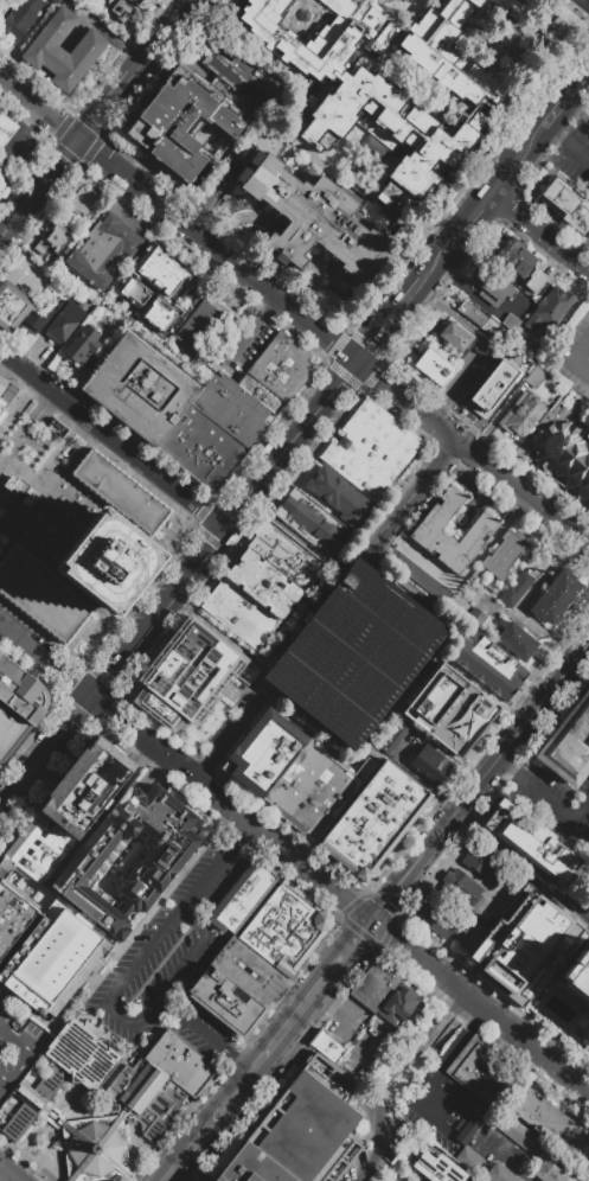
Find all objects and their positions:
building: (0, 0)
building: (510, 7)
building: (122, 8)
building: (20, 18)
road: (111, 33)
building: (320, 34)
road: (162, 38)
building: (63, 51)
building: (233, 77)
road: (575, 81)
road: (105, 108)
building: (411, 108)
road: (39, 109)
road: (574, 111)
road: (551, 114)
building: (179, 121)
building: (6, 129)
road: (21, 132)
road: (550, 133)
traffic signals: (79, 141)
road: (574, 151)
parking lot: (574, 158)
road: (516, 161)
road: (108, 162)
building: (2, 165)
road: (53, 174)
road: (201, 198)
building: (83, 202)
building: (568, 205)
road: (239, 217)
road: (7, 218)
building: (312, 218)
road: (128, 221)
road: (13, 226)
road: (539, 234)
building: (56, 235)
road: (294, 237)
road: (456, 238)
parking lot: (587, 245)
building: (41, 247)
road: (213, 247)
building: (102, 250)
road: (581, 250)
building: (520, 262)
parking lot: (30, 274)
road: (310, 280)
building: (493, 282)
building: (155, 291)
road: (474, 299)
building: (12, 306)
building: (549, 308)
parking lot: (514, 311)
building: (472, 313)
building: (36, 317)
building: (64, 321)
road: (391, 323)
building: (199, 325)
road: (248, 330)
parking lot: (245, 331)
road: (325, 337)
building: (454, 337)
road: (481, 345)
building: (82, 346)
road: (569, 357)
parking lot: (574, 357)
road: (13, 360)
road: (33, 364)
traffic signals: (359, 364)
building: (280, 366)
building: (433, 368)
parking lot: (469, 375)
building: (536, 376)
building: (141, 388)
building: (491, 389)
parking lot: (492, 389)
road: (73, 390)
building: (261, 392)
building: (241, 401)
building: (1, 402)
road: (18, 404)
building: (1, 413)
building: (521, 413)
building: (226, 417)
road: (495, 417)
building: (1, 438)
road: (293, 447)
building: (200, 448)
building: (371, 448)
road: (127, 451)
road: (472, 452)
building: (566, 460)
road: (427, 473)
building: (119, 491)
building: (339, 497)
road: (517, 506)
building: (312, 523)
building: (427, 526)
road: (300, 542)
road: (587, 544)
building: (287, 554)
building: (502, 554)
building: (108, 562)
building: (271, 573)
road: (459, 574)
building: (514, 588)
building: (260, 590)
building: (41, 595)
building: (555, 595)
road: (385, 611)
building: (239, 613)
road: (159, 614)
road: (301, 614)
road: (218, 630)
road: (325, 630)
building: (513, 639)
road: (363, 651)
road: (346, 653)
building: (354, 655)
parking garage: (354, 655)
road: (46, 664)
building: (486, 665)
road: (382, 674)
building: (7, 675)
building: (184, 683)
road: (320, 692)
road: (530, 697)
building: (26, 698)
traffic signals: (92, 701)
building: (450, 704)
road: (237, 720)
building: (13, 721)
road: (315, 729)
building: (8, 736)
building: (391, 736)
road: (141, 740)
building: (568, 743)
building: (97, 745)
road: (382, 749)
building: (4, 752)
building: (264, 752)
building: (89, 755)
road: (45, 758)
road: (478, 761)
building: (430, 764)
road: (497, 764)
building: (81, 766)
road: (504, 767)
building: (290, 774)
road: (425, 783)
building: (66, 785)
building: (303, 786)
building: (92, 792)
road: (540, 796)
building: (57, 797)
building: (319, 797)
building: (338, 800)
building: (505, 805)
building: (47, 809)
parking lot: (551, 809)
road: (580, 809)
building: (374, 819)
building: (52, 830)
building: (45, 841)
building: (38, 848)
building: (538, 850)
building: (129, 855)
building: (33, 856)
road: (508, 857)
building: (485, 863)
building: (5, 864)
building: (26, 864)
road: (216, 869)
road: (24, 888)
building: (459, 888)
building: (242, 895)
road: (388, 902)
building: (18, 906)
building: (519, 906)
road: (576, 907)
building: (14, 918)
building: (438, 918)
traffic signals: (372, 924)
building: (286, 927)
building: (11, 928)
building: (470, 937)
road: (390, 938)
building: (8, 940)
building: (489, 945)
building: (4, 953)
building: (53, 957)
building: (549, 959)
parking lot: (172, 962)
building: (0, 966)
building: (263, 970)
building: (383, 973)
building: (577, 975)
building: (373, 985)
road: (319, 991)
road: (427, 996)
building: (364, 997)
building: (226, 1001)
building: (398, 1003)
road: (334, 1014)
road: (450, 1024)
road: (132, 1029)
parking lot: (363, 1034)
road: (206, 1035)
road: (457, 1040)
parking lot: (17, 1046)
road: (295, 1046)
building: (327, 1046)
building: (188, 1053)
road: (289, 1055)
road: (30, 1058)
building: (180, 1062)
parking lot: (404, 1062)
road: (405, 1066)
building: (478, 1070)
building: (172, 1073)
road: (5, 1080)
road: (244, 1086)
road: (421, 1096)
building: (147, 1100)
parking lot: (437, 1107)
building: (553, 1121)
building: (512, 1129)
building: (300, 1130)
building: (463, 1130)
road: (196, 1147)
building: (468, 1158)
road: (367, 1164)
building: (436, 1166)
parking lot: (363, 1168)
building: (552, 1170)
road: (9, 1173)
building: (499, 1174)
road: (525, 1179)

